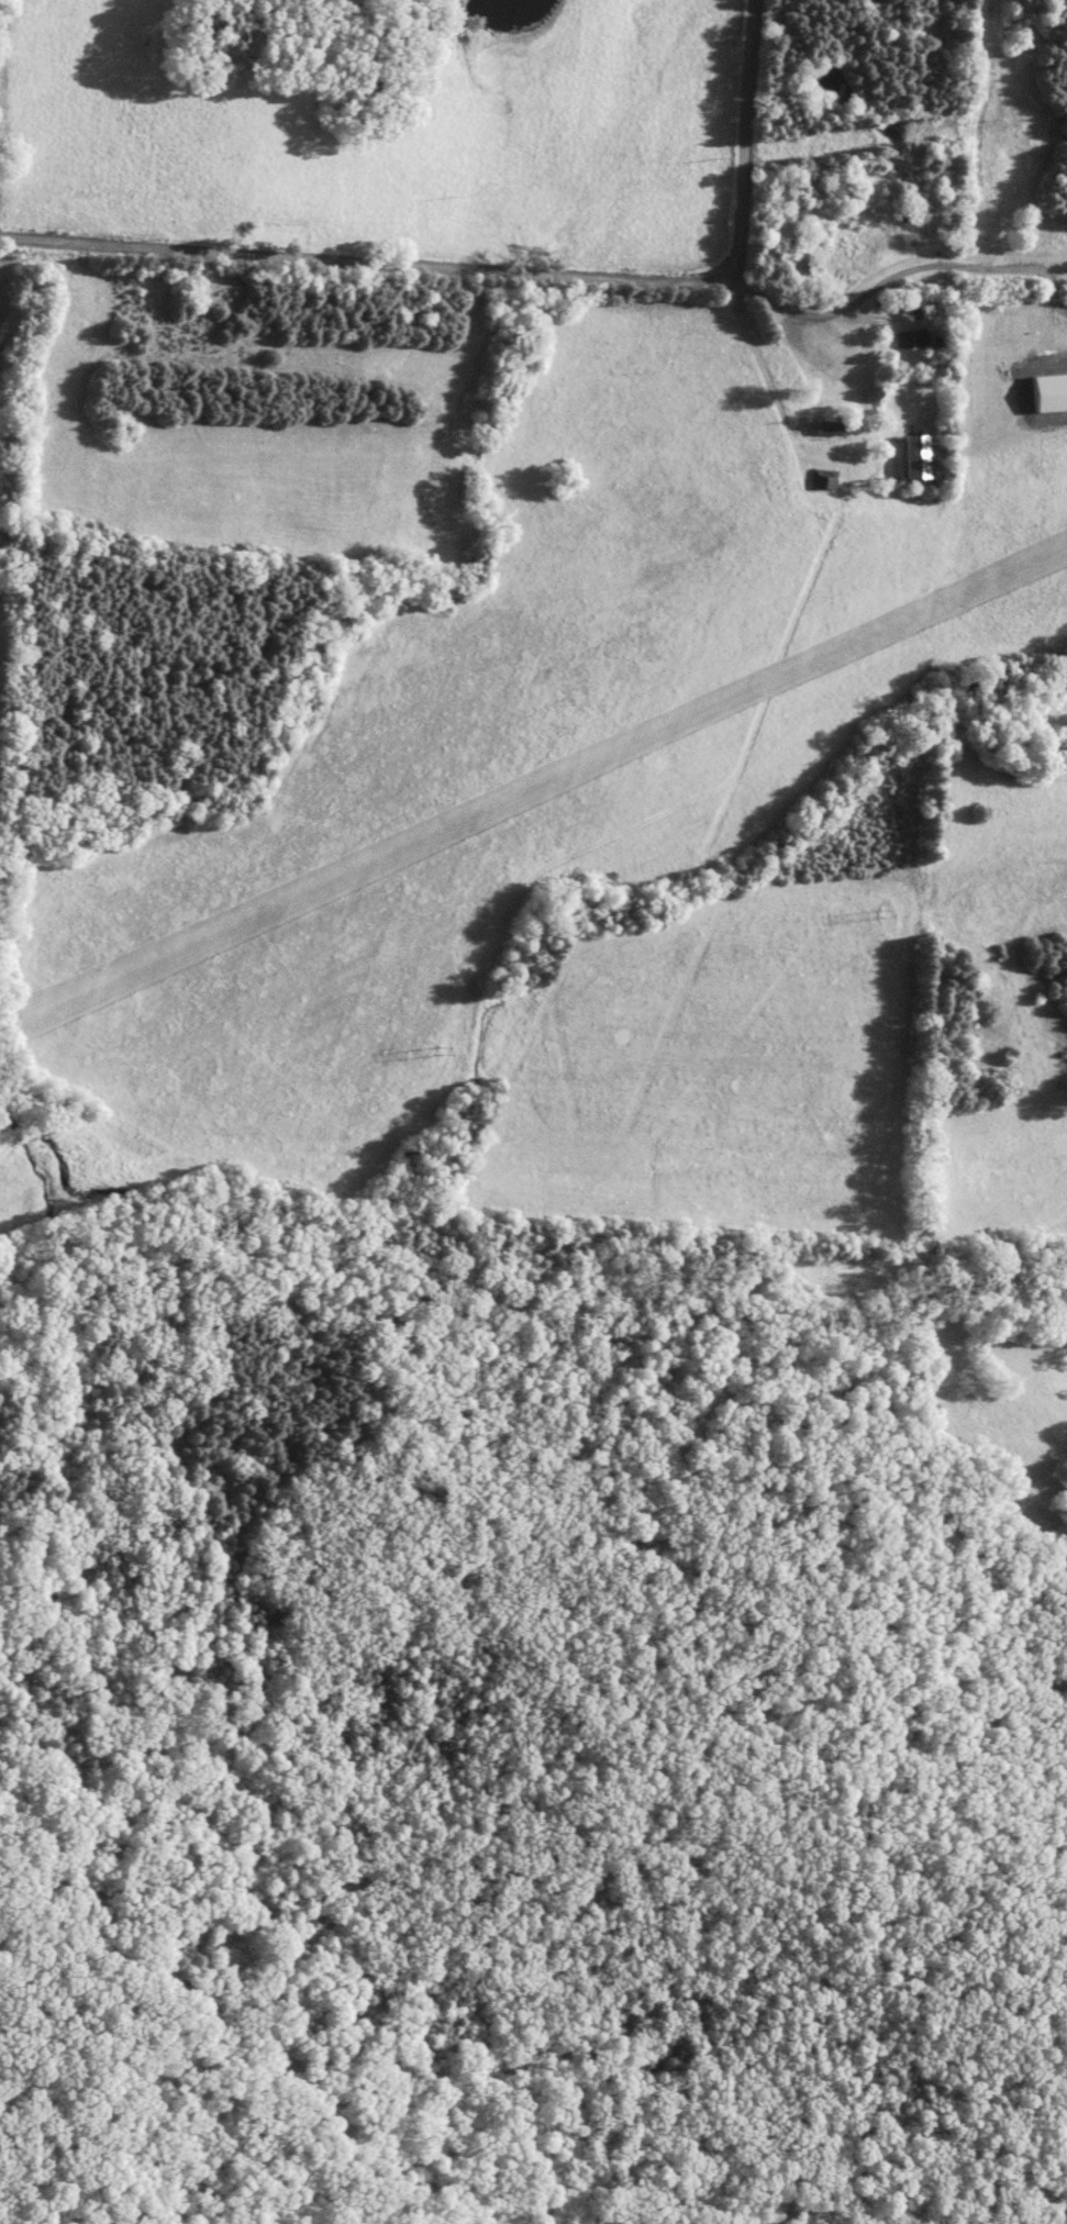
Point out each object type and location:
road: (510, 276)
building: (916, 340)
building: (830, 427)
building: (823, 478)
power tower: (876, 903)
power tower: (432, 1044)

